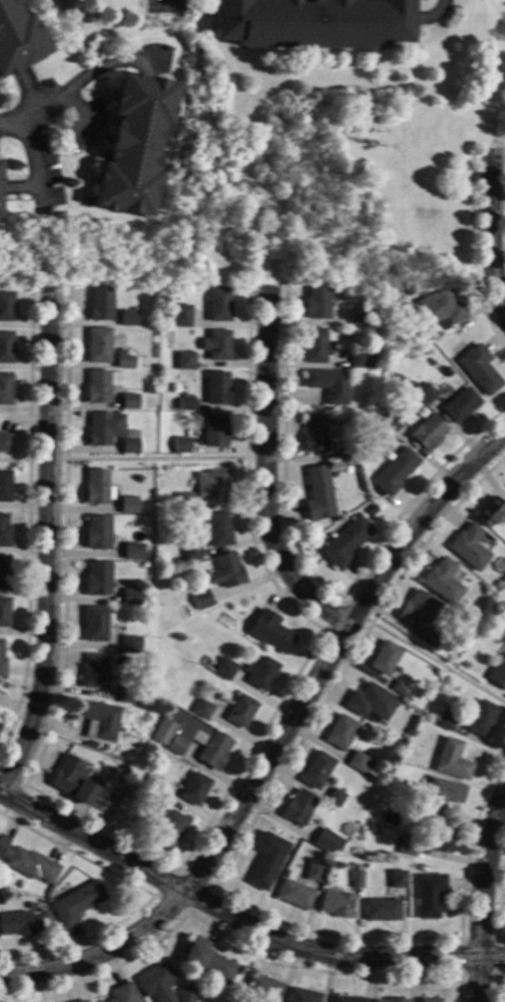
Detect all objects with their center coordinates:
road: (166, 1)
building: (311, 23)
building: (16, 38)
park: (499, 77)
road: (79, 80)
road: (73, 128)
building: (133, 144)
road: (86, 147)
road: (30, 159)
road: (19, 188)
road: (489, 233)
road: (470, 257)
building: (409, 290)
building: (316, 303)
building: (100, 304)
building: (218, 305)
building: (6, 307)
building: (440, 310)
building: (127, 318)
building: (357, 318)
building: (185, 319)
building: (370, 319)
building: (217, 345)
building: (97, 346)
building: (314, 346)
building: (6, 348)
building: (122, 360)
building: (185, 361)
building: (360, 361)
building: (479, 369)
building: (445, 372)
building: (328, 385)
building: (97, 387)
building: (217, 388)
building: (5, 390)
building: (149, 390)
building: (425, 394)
building: (128, 402)
building: (187, 405)
building: (460, 406)
building: (392, 421)
building: (103, 428)
building: (215, 431)
building: (427, 432)
building: (314, 433)
building: (5, 442)
building: (129, 443)
building: (181, 446)
building: (350, 456)
road: (132, 460)
building: (346, 470)
road: (264, 472)
building: (394, 472)
building: (213, 485)
building: (4, 486)
building: (96, 488)
building: (317, 494)
building: (184, 502)
building: (127, 505)
building: (504, 510)
building: (371, 511)
building: (489, 512)
road: (27, 521)
building: (218, 530)
building: (4, 531)
building: (96, 533)
building: (345, 543)
road: (45, 546)
building: (467, 547)
building: (190, 552)
building: (132, 553)
building: (228, 570)
building: (4, 573)
road: (310, 574)
building: (96, 579)
building: (441, 582)
building: (129, 597)
building: (201, 599)
road: (335, 607)
building: (416, 610)
building: (4, 613)
building: (503, 622)
building: (93, 624)
building: (504, 626)
building: (270, 632)
building: (428, 639)
building: (129, 646)
road: (328, 648)
building: (383, 658)
road: (428, 658)
building: (1, 665)
building: (223, 669)
building: (93, 672)
building: (262, 674)
building: (498, 674)
building: (399, 690)
building: (126, 694)
building: (370, 703)
building: (201, 710)
building: (240, 711)
building: (481, 719)
building: (98, 720)
building: (446, 722)
building: (406, 731)
building: (339, 732)
building: (190, 741)
building: (450, 760)
building: (358, 763)
building: (316, 771)
building: (71, 780)
building: (152, 785)
road: (20, 789)
building: (193, 790)
building: (441, 796)
building: (334, 798)
building: (297, 807)
building: (149, 808)
building: (372, 828)
building: (168, 829)
building: (440, 836)
road: (91, 842)
building: (325, 842)
building: (3, 843)
building: (407, 846)
road: (163, 859)
building: (266, 860)
road: (225, 862)
building: (31, 866)
road: (484, 870)
building: (314, 872)
building: (356, 878)
building: (396, 879)
road: (149, 894)
building: (293, 894)
building: (428, 895)
road: (496, 899)
building: (1, 901)
building: (75, 904)
building: (336, 904)
building: (381, 910)
road: (185, 914)
road: (239, 921)
building: (18, 924)
road: (231, 938)
building: (207, 960)
road: (494, 975)
road: (478, 980)
building: (156, 983)
road: (494, 983)
building: (262, 988)
building: (123, 994)
building: (186, 994)
building: (303, 996)
building: (348, 999)
building: (396, 1000)
building: (82, 1001)
building: (430, 1001)

